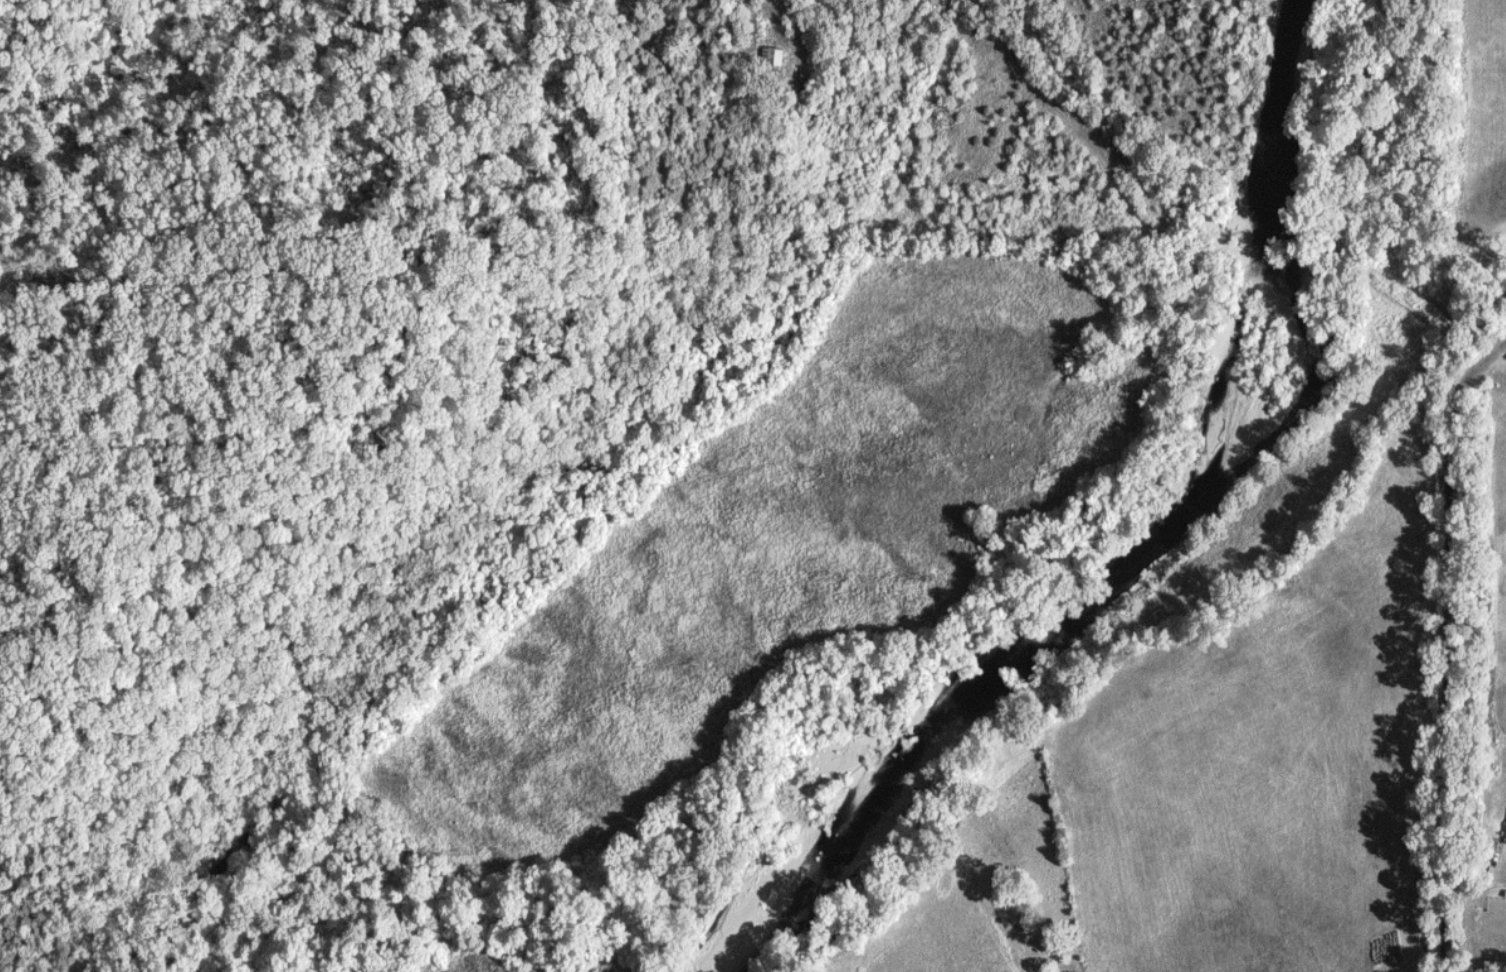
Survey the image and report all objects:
road: (850, 3)
building: (775, 57)
road: (1093, 102)
road: (1250, 251)
road: (1397, 280)
river: (1119, 562)
road: (1450, 647)

